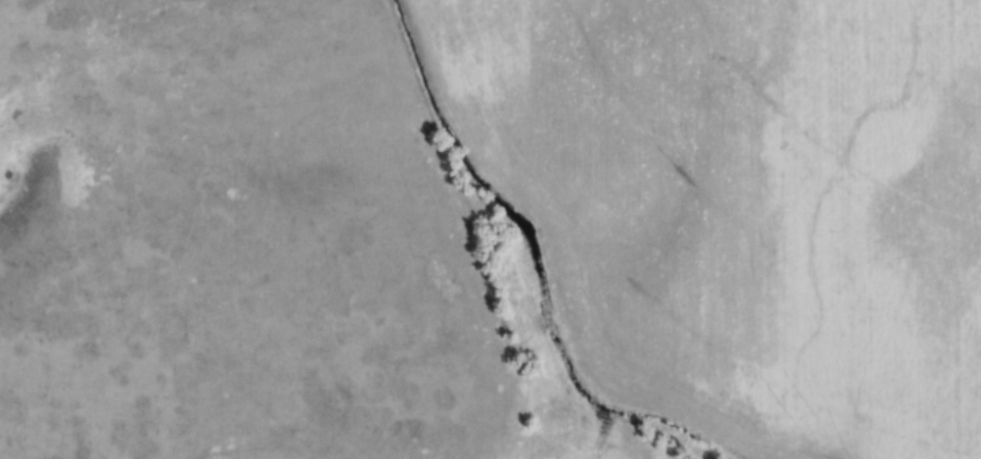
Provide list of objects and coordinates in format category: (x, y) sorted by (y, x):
crop: (737, 207)

